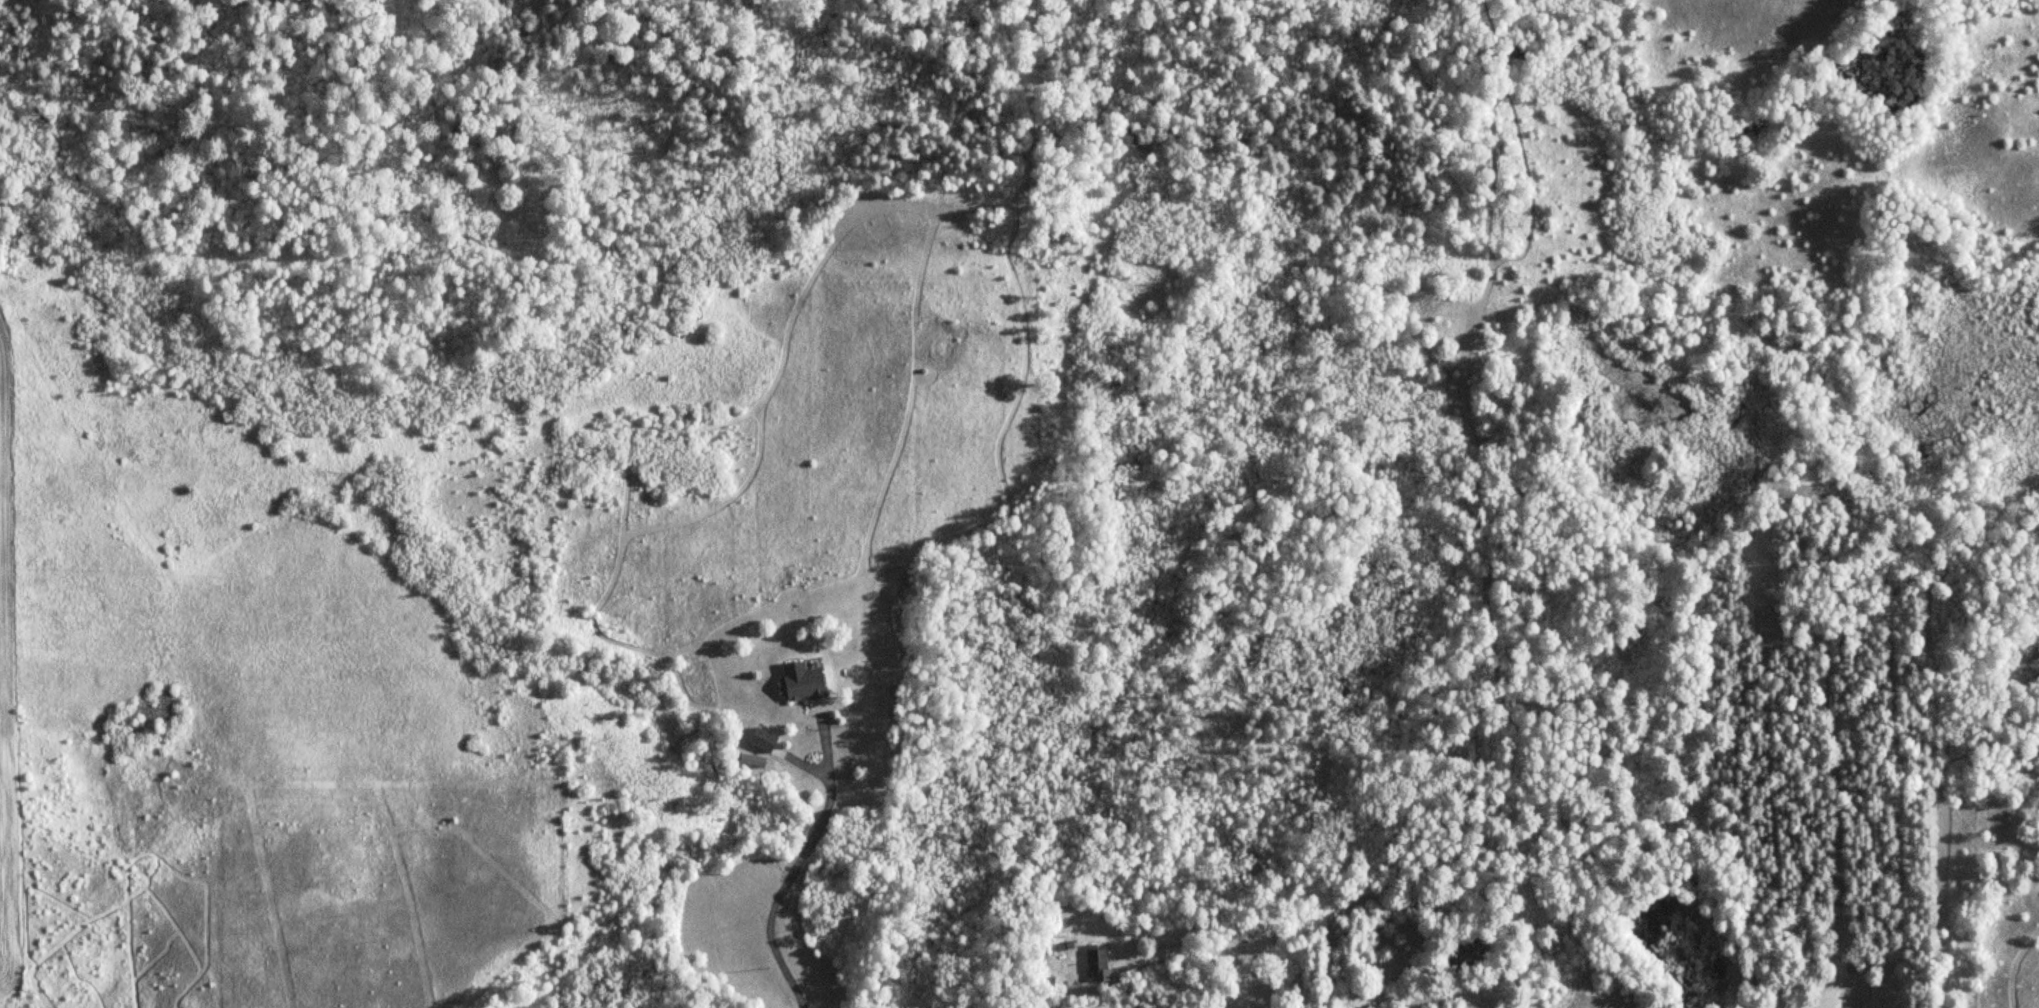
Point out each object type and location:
building: (805, 682)
building: (764, 739)
road: (1220, 951)
building: (1099, 964)

